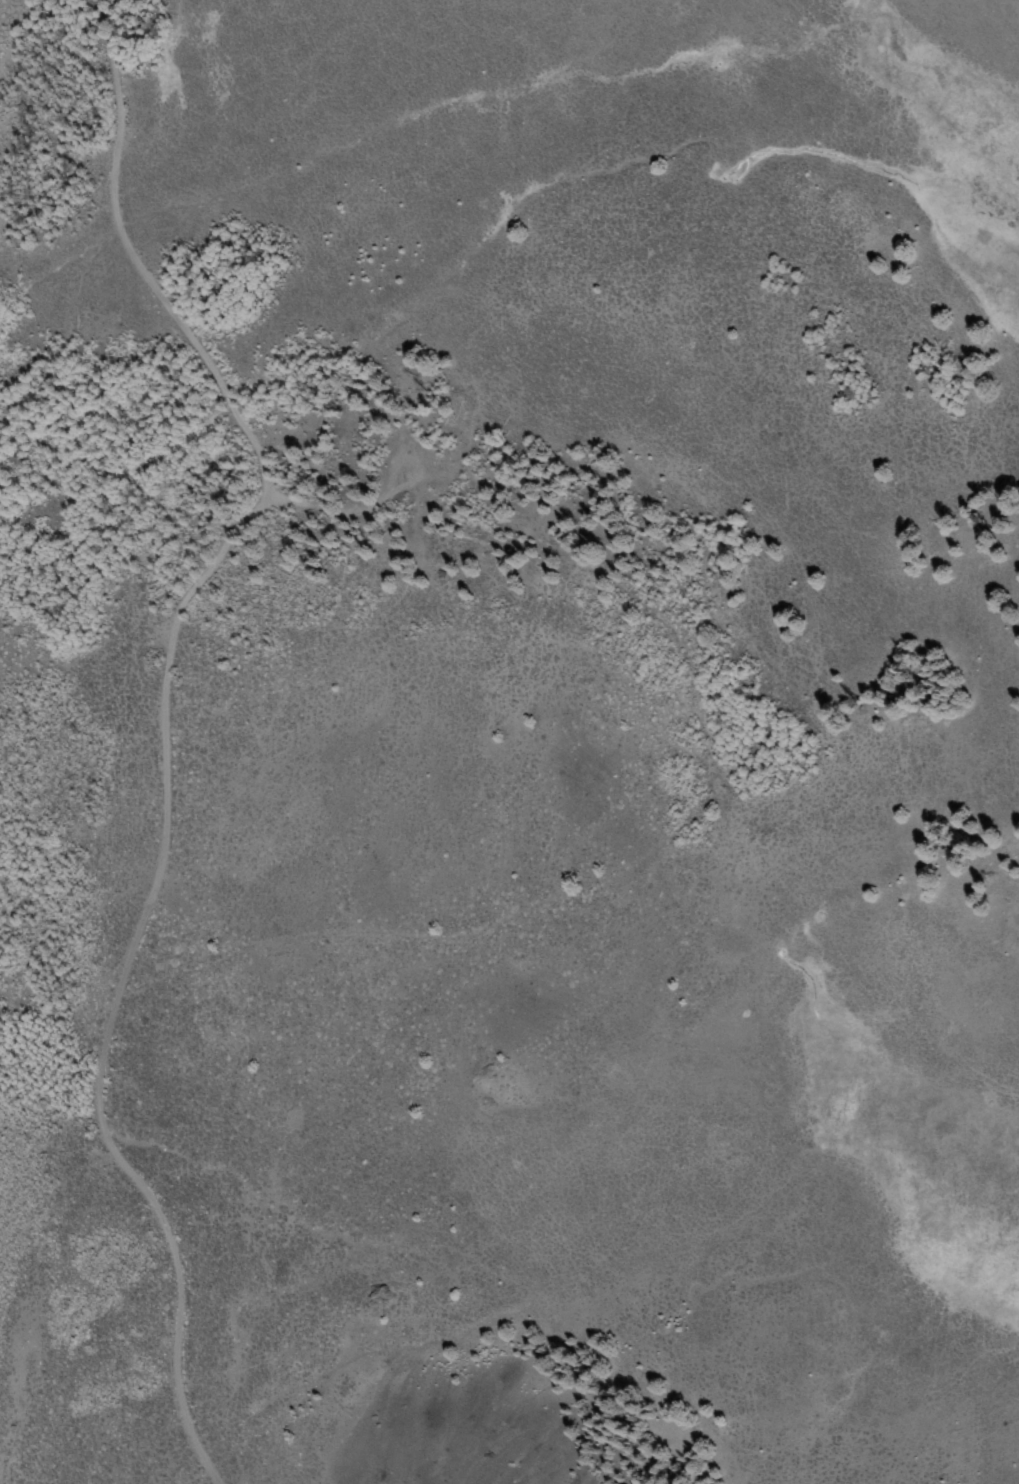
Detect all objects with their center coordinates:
road: (348, 512)
road: (165, 725)

